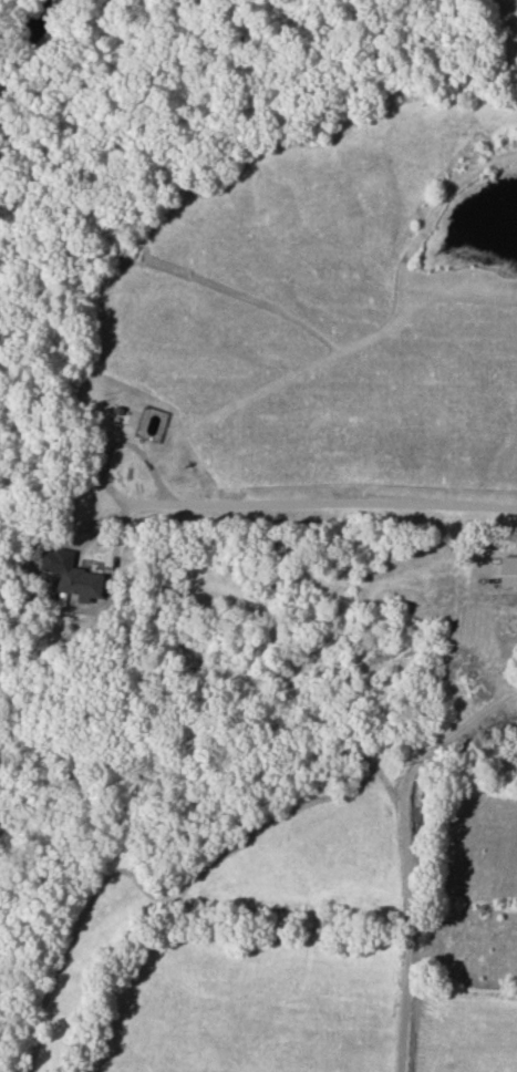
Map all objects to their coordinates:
road: (260, 504)
building: (508, 571)
building: (81, 584)
road: (404, 855)

